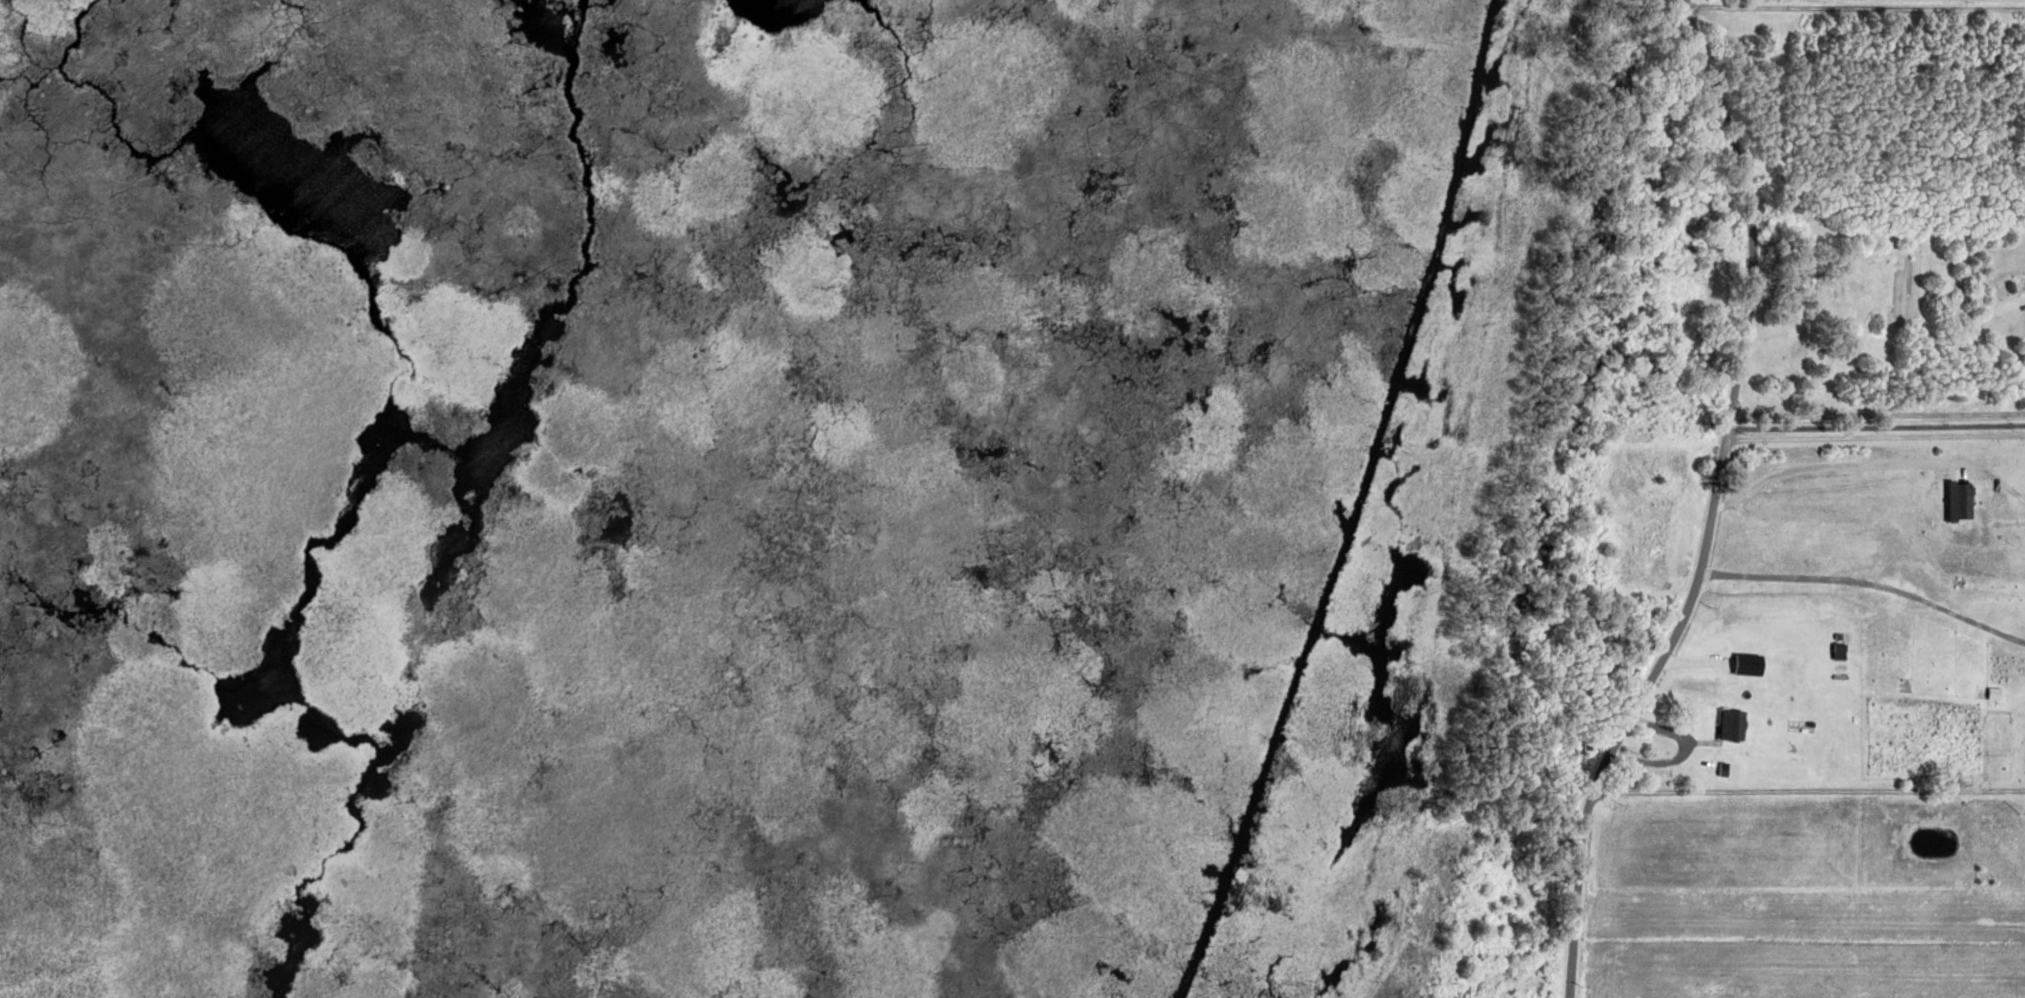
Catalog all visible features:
road: (1855, 10)
road: (1877, 415)
road: (1877, 428)
road: (1876, 439)
road: (1837, 467)
building: (1957, 502)
road: (1713, 506)
road: (1867, 585)
building: (1746, 666)
building: (1734, 725)
building: (1727, 769)
road: (1809, 794)
building: (2021, 818)
building: (1477, 995)

